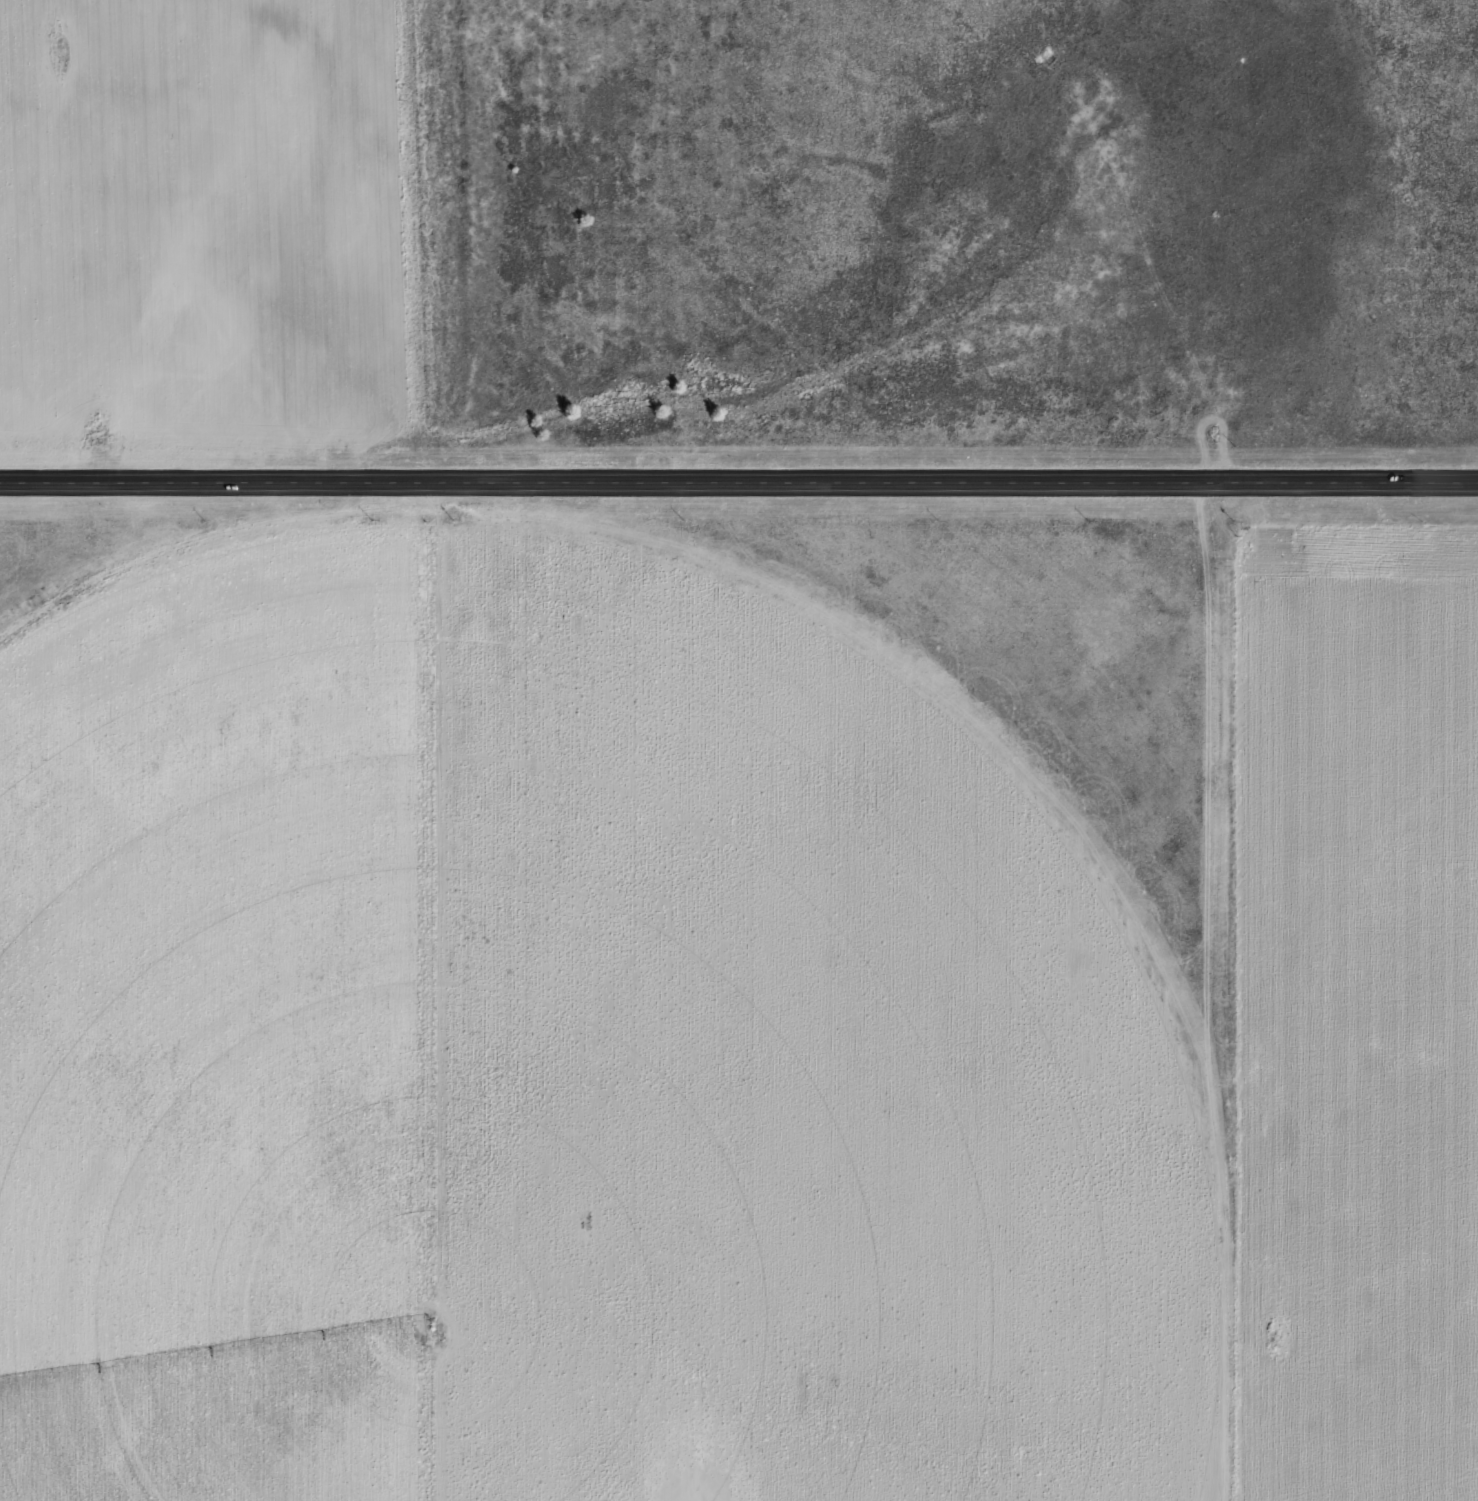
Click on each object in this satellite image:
road: (739, 480)

